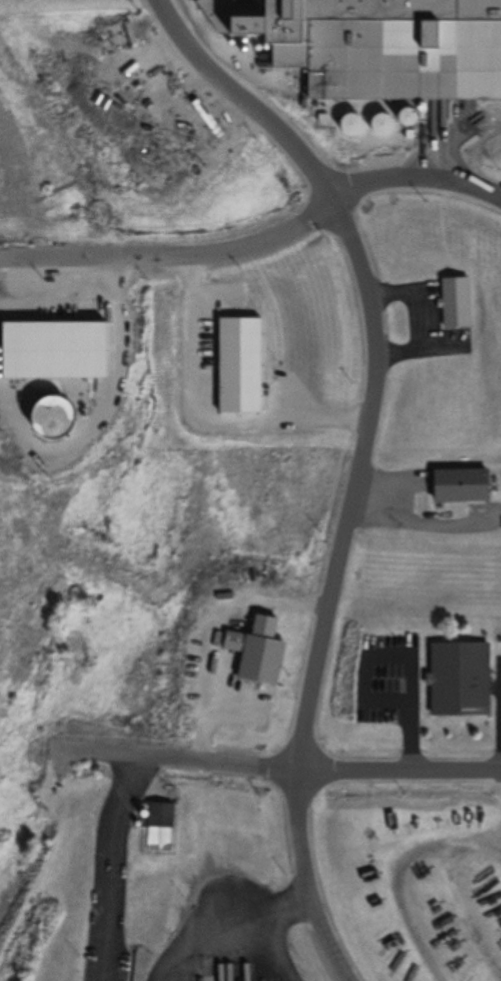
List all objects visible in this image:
building: (365, 46)
road: (417, 173)
road: (175, 251)
building: (452, 302)
road: (362, 459)
building: (460, 485)
building: (258, 649)
building: (453, 680)
road: (408, 712)
road: (275, 765)
building: (157, 826)
road: (112, 865)
road: (294, 905)
road: (207, 936)
road: (279, 947)

